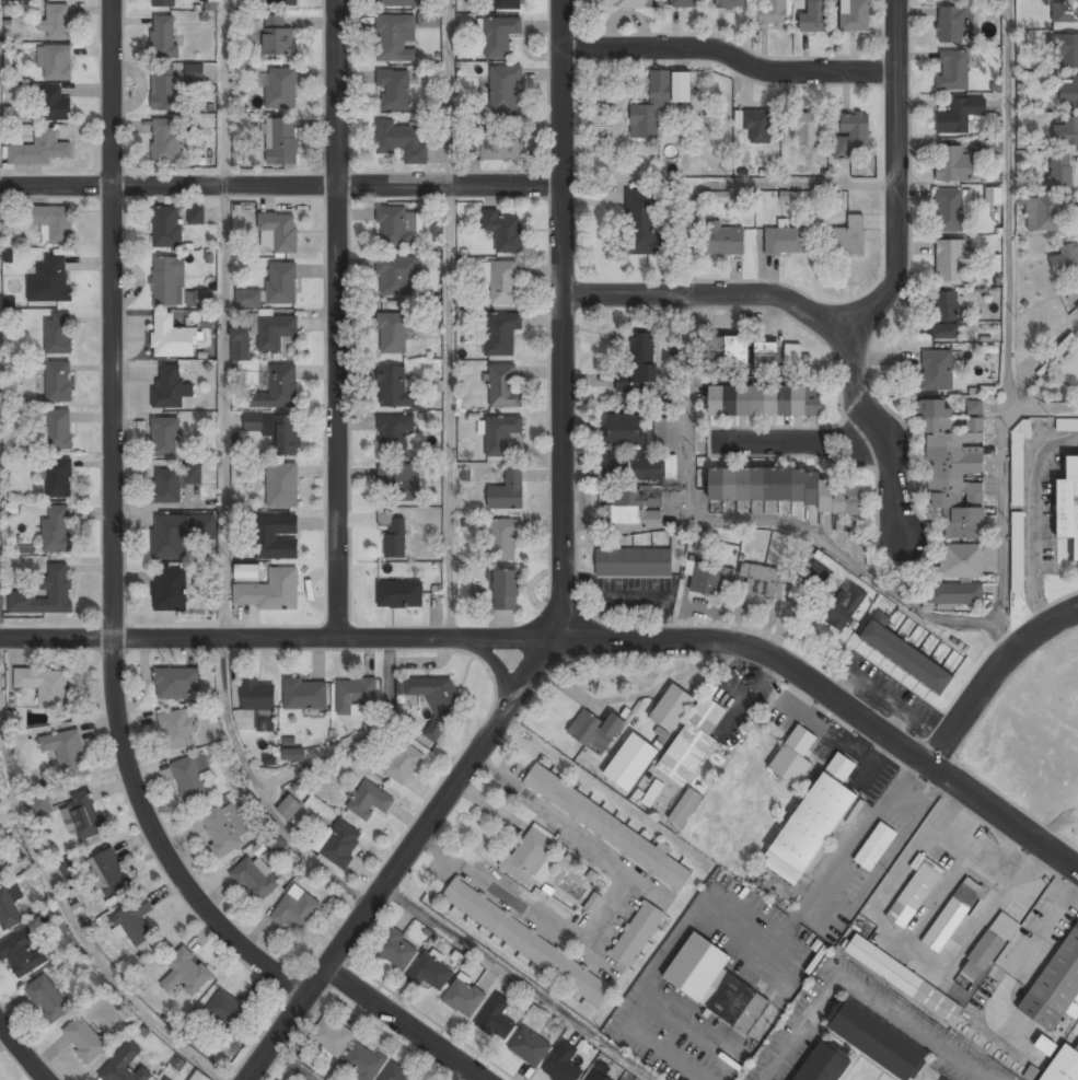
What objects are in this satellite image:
building: (163, 2)
building: (402, 2)
building: (283, 3)
building: (626, 3)
building: (683, 3)
building: (730, 3)
building: (507, 4)
building: (1065, 10)
building: (773, 13)
building: (856, 15)
building: (814, 16)
building: (57, 21)
building: (954, 24)
building: (401, 34)
building: (164, 35)
building: (499, 35)
building: (277, 36)
building: (1068, 50)
road: (731, 58)
building: (54, 61)
building: (953, 71)
building: (195, 72)
building: (280, 88)
building: (394, 89)
building: (505, 89)
building: (164, 90)
building: (1069, 91)
building: (659, 102)
building: (54, 105)
building: (959, 115)
building: (756, 125)
building: (805, 128)
building: (1066, 132)
building: (853, 135)
building: (165, 139)
building: (280, 140)
building: (402, 140)
building: (477, 140)
building: (500, 148)
building: (992, 148)
building: (39, 149)
building: (953, 163)
building: (1059, 171)
road: (731, 183)
road: (279, 186)
building: (993, 195)
building: (951, 209)
building: (1045, 211)
building: (196, 214)
building: (642, 221)
building: (51, 222)
building: (395, 225)
building: (166, 227)
building: (502, 229)
building: (280, 230)
building: (848, 235)
building: (726, 237)
building: (787, 241)
building: (1065, 257)
building: (952, 258)
building: (397, 276)
building: (49, 279)
building: (167, 279)
building: (501, 280)
building: (281, 282)
building: (200, 298)
building: (247, 298)
building: (1077, 306)
road: (871, 314)
building: (946, 315)
road: (222, 320)
road: (337, 320)
road: (449, 320)
road: (1008, 328)
building: (275, 330)
building: (58, 332)
building: (395, 332)
building: (500, 332)
building: (172, 337)
building: (240, 344)
building: (1063, 346)
building: (738, 352)
building: (792, 352)
building: (639, 363)
building: (939, 370)
building: (58, 380)
building: (169, 385)
building: (502, 386)
building: (278, 387)
building: (395, 388)
building: (764, 400)
road: (1043, 406)
building: (253, 421)
building: (1066, 425)
building: (58, 428)
building: (660, 429)
building: (624, 430)
building: (394, 432)
building: (500, 432)
road: (885, 432)
building: (286, 434)
building: (164, 437)
road: (788, 443)
building: (1019, 464)
building: (656, 467)
building: (615, 468)
building: (955, 468)
building: (57, 476)
building: (399, 480)
building: (172, 483)
building: (281, 485)
building: (789, 488)
building: (508, 491)
building: (1068, 502)
building: (631, 506)
building: (384, 518)
road: (755, 519)
building: (56, 530)
road: (112, 532)
building: (178, 533)
building: (276, 536)
building: (395, 537)
building: (503, 539)
building: (1017, 547)
building: (960, 560)
building: (634, 561)
building: (246, 571)
building: (816, 571)
building: (706, 577)
building: (762, 579)
building: (506, 589)
road: (561, 589)
building: (170, 590)
building: (269, 590)
building: (399, 592)
building: (46, 593)
building: (955, 593)
building: (844, 605)
road: (575, 640)
building: (904, 652)
road: (988, 673)
building: (175, 682)
building: (44, 684)
building: (304, 693)
building: (355, 693)
building: (437, 700)
building: (259, 701)
building: (672, 708)
building: (176, 728)
building: (595, 730)
road: (358, 735)
building: (692, 741)
building: (67, 751)
building: (293, 754)
building: (403, 762)
building: (630, 762)
building: (790, 765)
building: (192, 778)
road: (260, 791)
building: (652, 792)
building: (368, 799)
building: (39, 805)
building: (289, 806)
building: (684, 806)
building: (85, 813)
building: (813, 821)
building: (604, 825)
building: (223, 828)
building: (340, 843)
building: (876, 846)
building: (528, 855)
building: (69, 870)
building: (107, 872)
building: (254, 879)
building: (915, 892)
building: (593, 902)
building: (8, 909)
building: (297, 909)
road: (71, 914)
building: (952, 915)
building: (134, 920)
building: (637, 933)
building: (526, 940)
building: (988, 948)
building: (396, 949)
building: (21, 953)
building: (186, 972)
building: (431, 972)
building: (903, 978)
road: (521, 980)
building: (714, 983)
building: (1056, 985)
road: (861, 989)
building: (48, 998)
building: (464, 998)
building: (227, 1007)
building: (497, 1019)
road: (403, 1023)
building: (333, 1036)
building: (84, 1038)
building: (877, 1040)
building: (530, 1046)
road: (21, 1053)
road: (295, 1061)
building: (363, 1061)
building: (824, 1062)
building: (563, 1064)
building: (126, 1065)
building: (1063, 1065)
building: (397, 1073)
building: (199, 1076)
building: (598, 1076)
building: (164, 1079)

